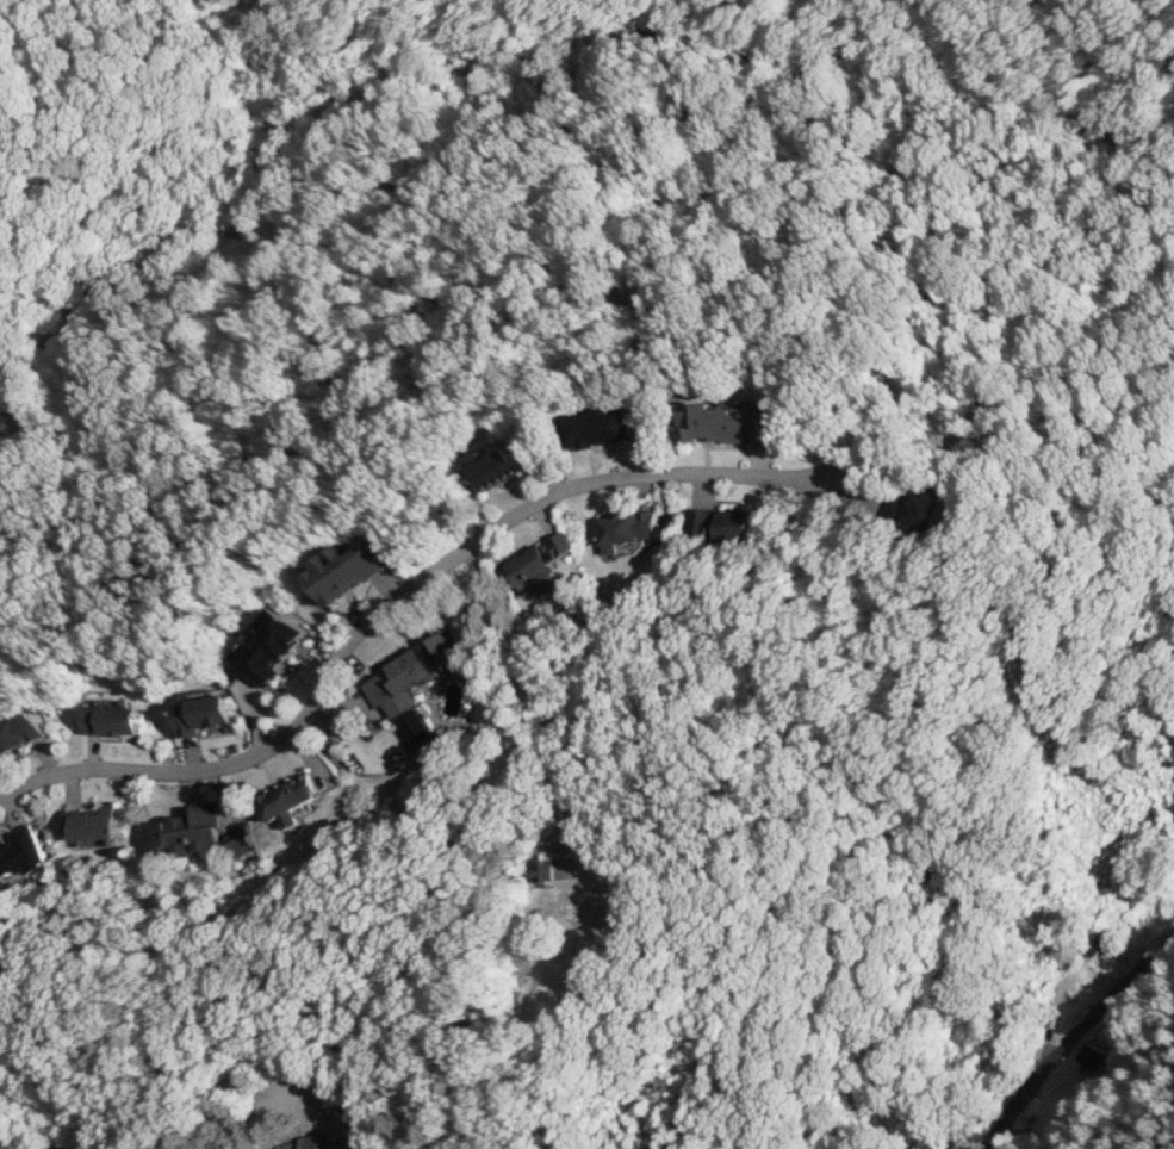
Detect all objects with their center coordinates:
building: (729, 421)
building: (600, 427)
building: (493, 466)
building: (915, 507)
building: (701, 522)
building: (737, 524)
building: (627, 528)
building: (539, 561)
building: (344, 571)
road: (395, 600)
building: (411, 684)
building: (201, 714)
building: (111, 719)
building: (19, 731)
building: (427, 749)
building: (290, 796)
building: (93, 824)
building: (187, 833)
building: (242, 840)
building: (21, 852)
building: (1073, 985)
road: (1067, 1029)
building: (297, 1143)

